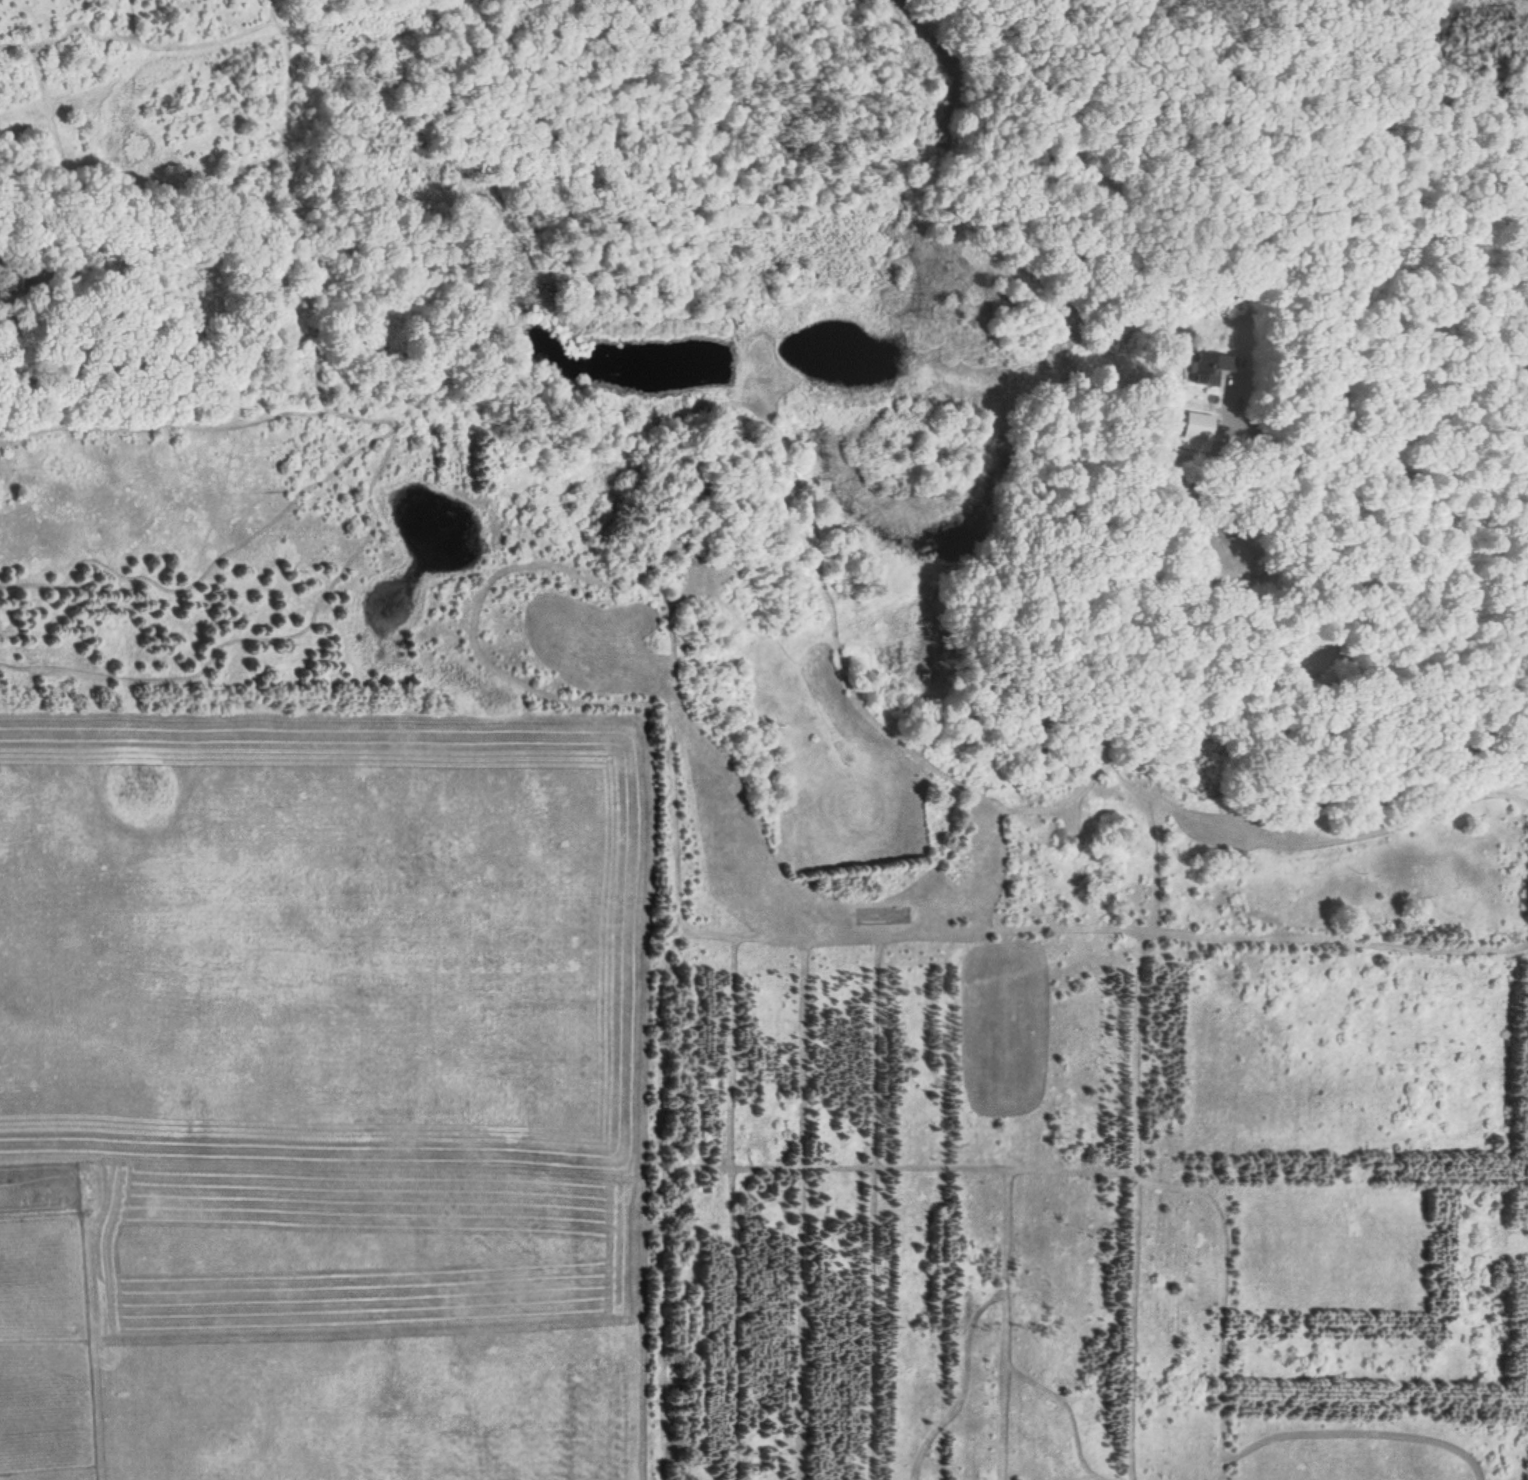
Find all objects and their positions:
building: (1208, 366)
building: (1194, 430)

